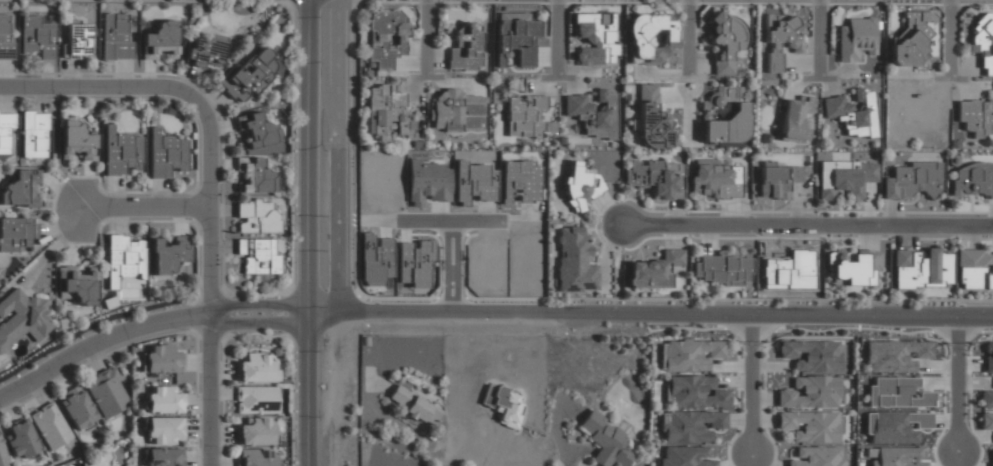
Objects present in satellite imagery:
building: (38, 35)
road: (690, 35)
building: (385, 36)
building: (4, 37)
building: (114, 37)
road: (428, 37)
road: (560, 38)
building: (594, 38)
building: (649, 38)
road: (821, 38)
building: (857, 38)
building: (914, 38)
road: (952, 38)
building: (159, 39)
building: (515, 39)
building: (779, 39)
building: (77, 40)
building: (726, 41)
building: (984, 42)
building: (466, 47)
building: (203, 50)
building: (249, 75)
road: (100, 86)
building: (458, 110)
building: (594, 112)
building: (853, 112)
building: (524, 113)
building: (389, 114)
building: (738, 114)
building: (975, 117)
building: (651, 118)
building: (795, 119)
building: (257, 130)
building: (7, 131)
building: (34, 133)
building: (77, 139)
building: (120, 151)
building: (165, 153)
building: (254, 175)
building: (655, 177)
building: (844, 178)
building: (714, 180)
building: (778, 180)
building: (912, 180)
building: (972, 180)
building: (520, 182)
building: (579, 187)
building: (20, 188)
road: (144, 207)
building: (256, 216)
road: (803, 225)
road: (308, 232)
building: (16, 233)
building: (168, 254)
building: (258, 256)
building: (124, 257)
building: (376, 259)
building: (573, 260)
building: (853, 266)
building: (922, 267)
building: (722, 269)
building: (975, 269)
building: (654, 270)
road: (210, 281)
building: (77, 284)
road: (257, 305)
road: (650, 314)
building: (22, 318)
road: (260, 324)
road: (99, 343)
building: (689, 354)
building: (811, 355)
building: (894, 355)
building: (989, 357)
building: (161, 359)
building: (256, 368)
road: (751, 383)
road: (960, 383)
building: (106, 392)
building: (810, 392)
building: (896, 392)
building: (718, 398)
building: (987, 398)
building: (256, 399)
building: (162, 400)
building: (503, 403)
building: (413, 406)
building: (77, 408)
building: (987, 420)
building: (690, 425)
building: (50, 426)
building: (809, 426)
building: (894, 426)
building: (161, 429)
building: (256, 432)
building: (604, 439)
building: (20, 440)
building: (3, 456)
building: (684, 456)
building: (818, 456)
building: (897, 456)
building: (163, 457)
building: (255, 457)
building: (992, 464)

